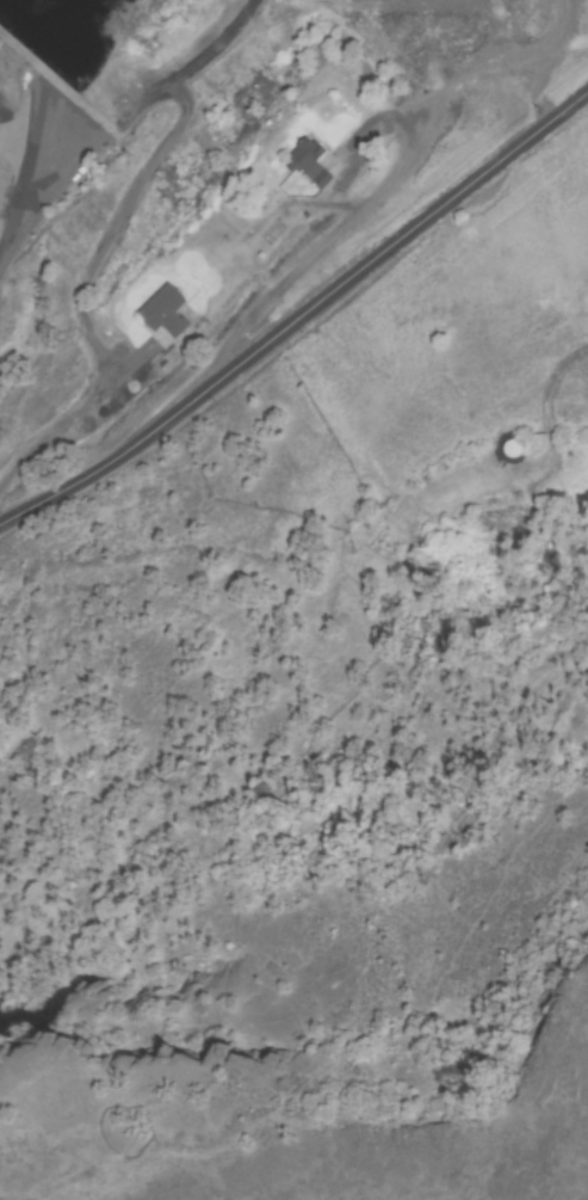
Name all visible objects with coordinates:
road: (215, 59)
dam: (51, 88)
road: (20, 137)
road: (38, 148)
building: (309, 162)
road: (389, 186)
road: (103, 245)
building: (163, 312)
road: (299, 326)
building: (169, 357)
storage tank: (513, 449)

